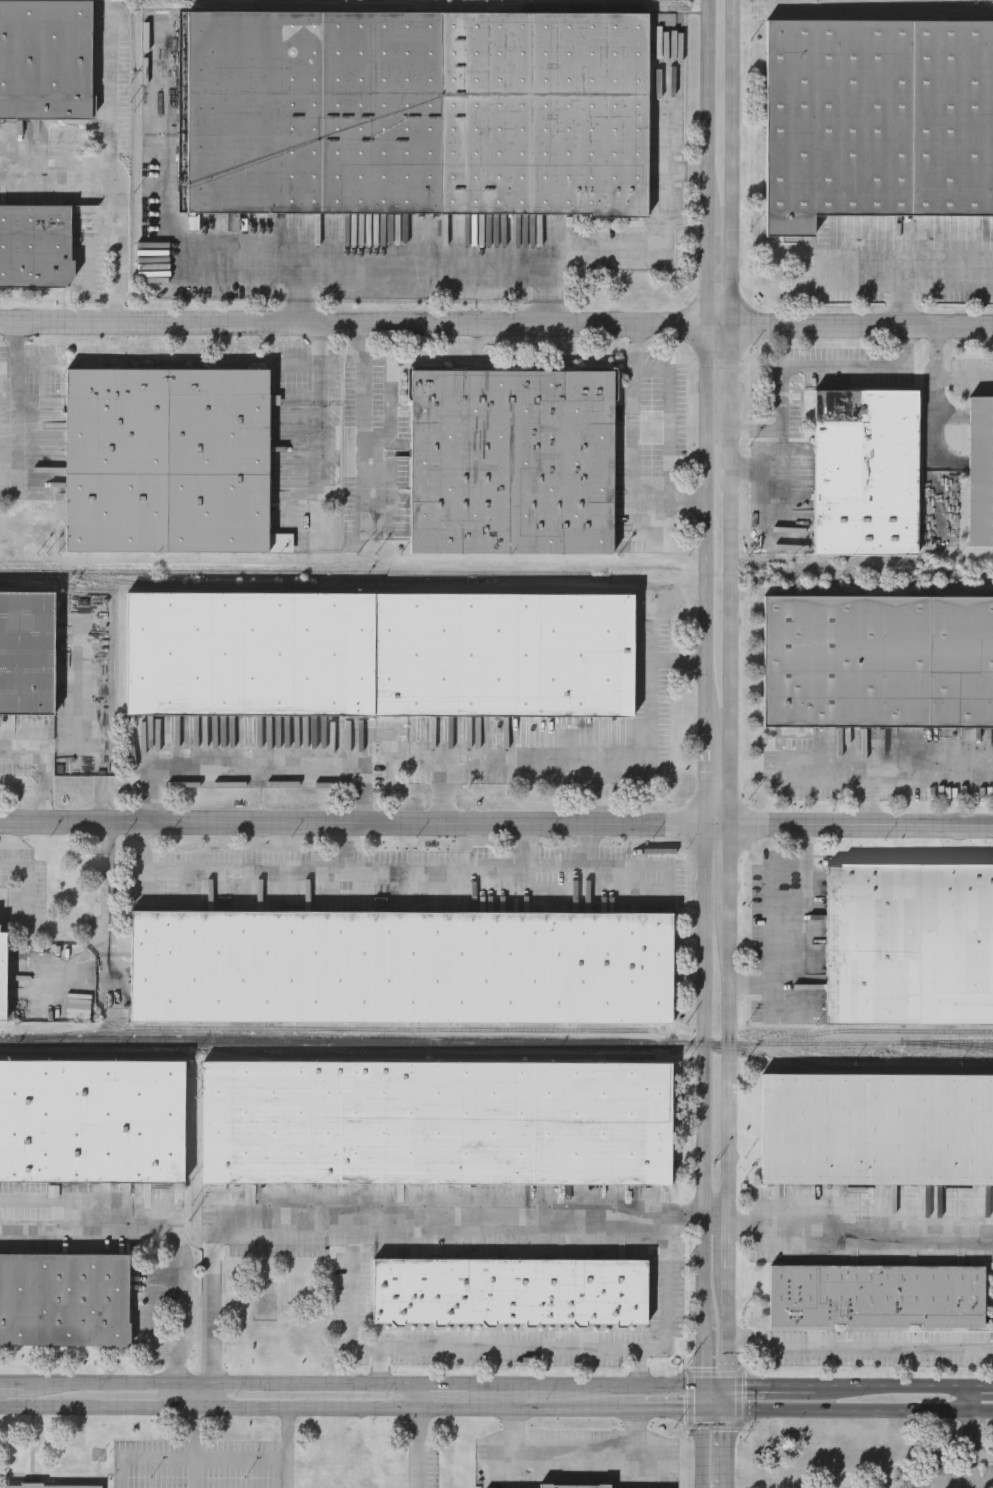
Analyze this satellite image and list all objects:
railway: (443, 6)
railway: (950, 6)
building: (46, 60)
road: (107, 94)
road: (666, 100)
building: (416, 113)
building: (877, 122)
road: (687, 169)
road: (119, 188)
building: (35, 247)
road: (465, 254)
road: (923, 270)
road: (298, 288)
road: (551, 288)
road: (496, 324)
road: (809, 365)
road: (964, 376)
road: (935, 390)
road: (18, 403)
road: (317, 409)
road: (365, 412)
road: (636, 443)
building: (168, 461)
building: (512, 463)
road: (771, 463)
building: (864, 472)
building: (980, 472)
railway: (295, 573)
railway: (15, 584)
railway: (184, 585)
building: (29, 655)
building: (380, 657)
building: (877, 662)
road: (706, 693)
road: (654, 710)
road: (99, 723)
road: (731, 744)
road: (525, 758)
road: (254, 768)
road: (904, 768)
road: (46, 769)
road: (496, 825)
road: (528, 845)
road: (587, 845)
road: (346, 848)
road: (389, 870)
road: (30, 887)
road: (110, 890)
road: (803, 940)
building: (908, 945)
building: (401, 967)
building: (2, 975)
railway: (360, 1027)
railway: (906, 1030)
railway: (496, 1043)
railway: (953, 1045)
railway: (91, 1055)
railway: (439, 1056)
railway: (838, 1066)
building: (92, 1125)
building: (437, 1126)
building: (876, 1131)
road: (370, 1211)
road: (716, 1222)
road: (860, 1226)
road: (162, 1230)
road: (353, 1288)
building: (510, 1295)
building: (876, 1297)
building: (64, 1303)
road: (667, 1307)
road: (861, 1343)
road: (494, 1352)
road: (12, 1384)
road: (268, 1385)
road: (541, 1385)
road: (637, 1386)
traffic signals: (702, 1386)
road: (715, 1386)
traffic signals: (729, 1387)
road: (773, 1387)
road: (895, 1387)
road: (982, 1387)
road: (193, 1396)
road: (49, 1407)
road: (146, 1407)
road: (397, 1409)
road: (664, 1409)
traffic signals: (702, 1410)
road: (860, 1410)
traffic signals: (728, 1411)
road: (418, 1436)
road: (702, 1437)
road: (194, 1447)
road: (289, 1448)
road: (564, 1456)
road: (143, 1457)
road: (241, 1458)
road: (974, 1467)
road: (984, 1484)
building: (54, 1487)
building: (575, 1487)

